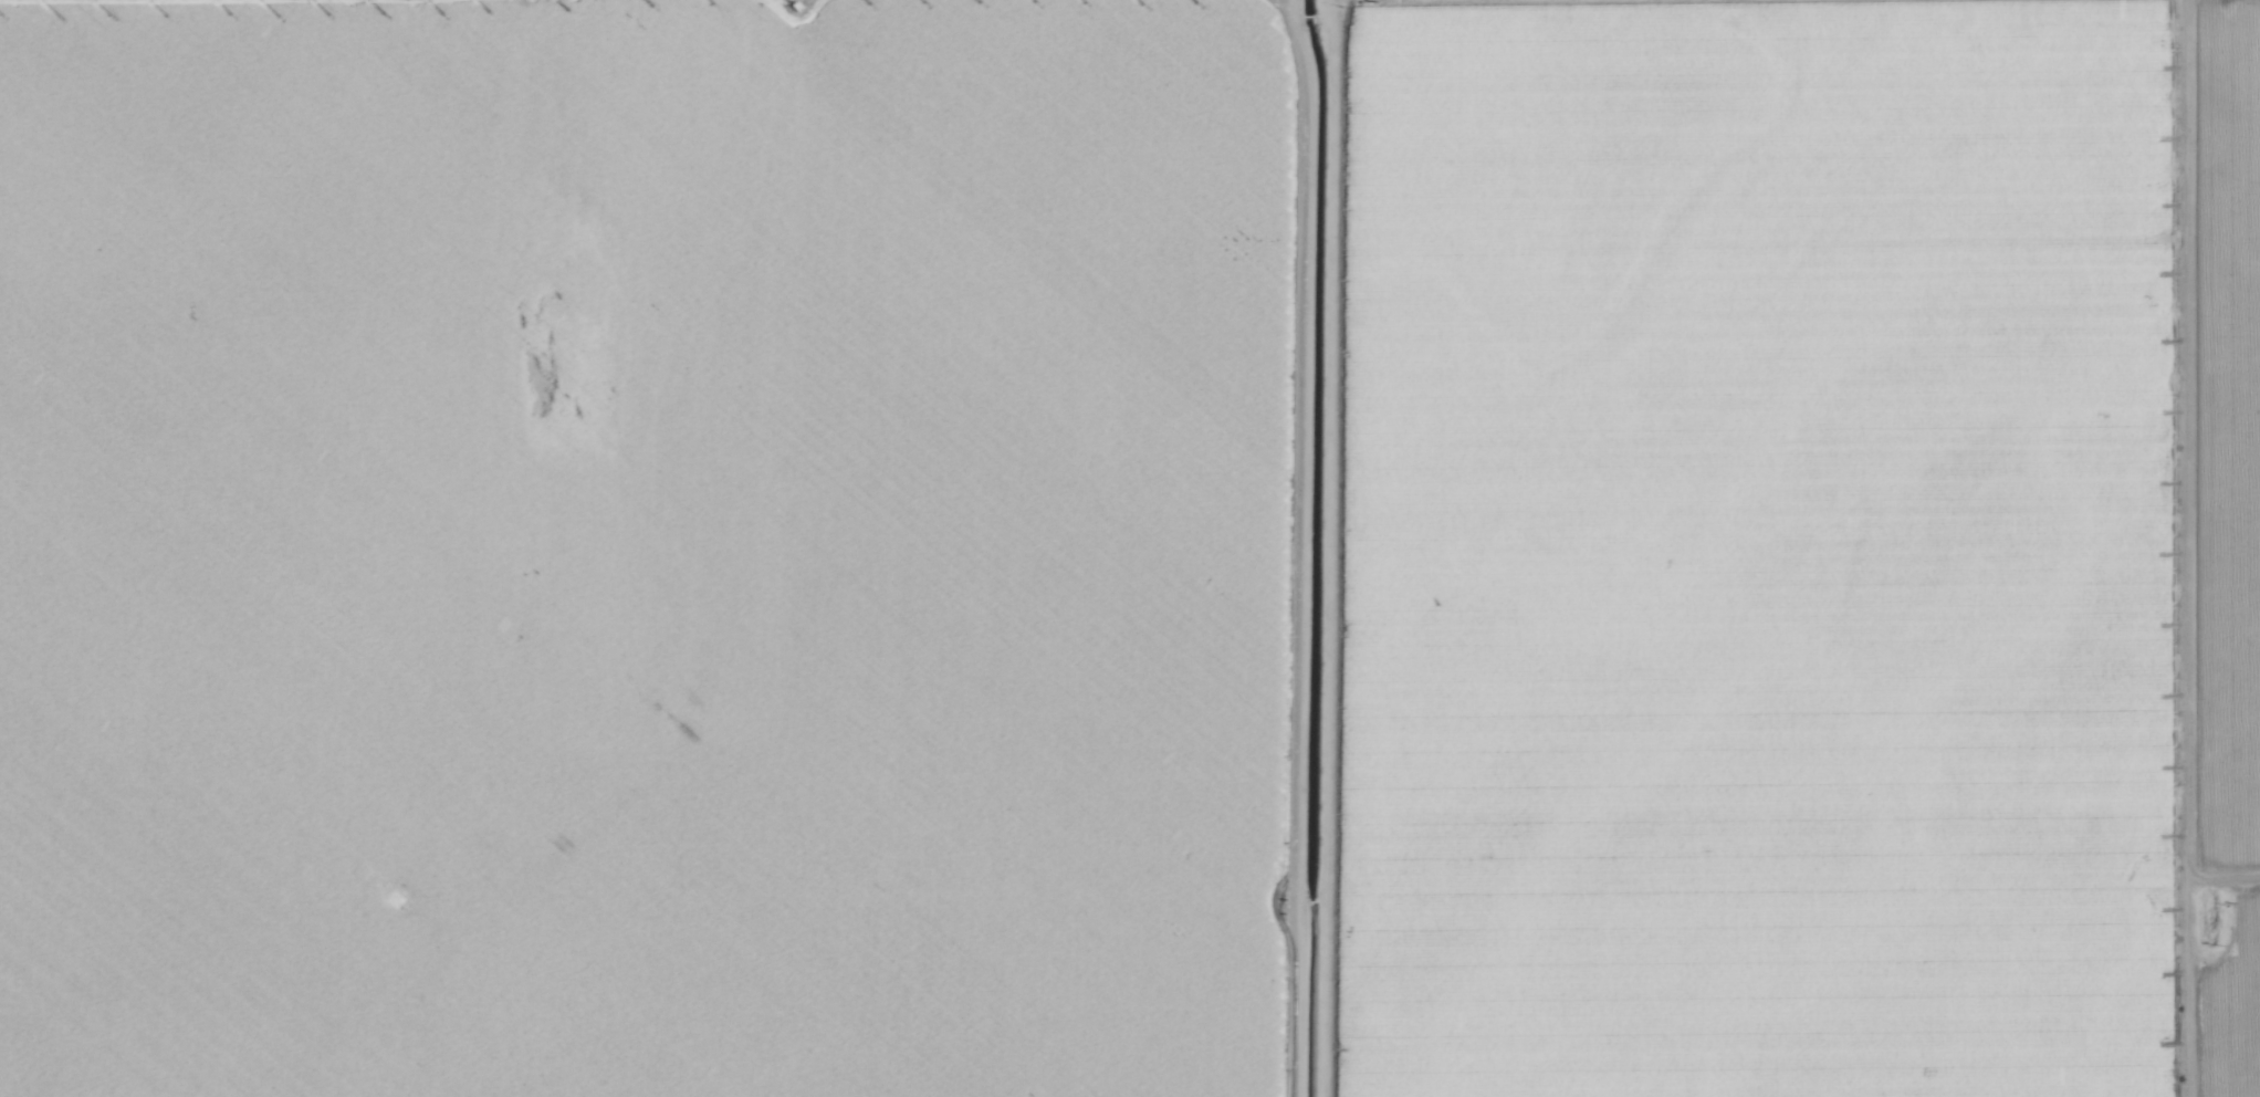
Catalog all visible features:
road: (1304, 546)

